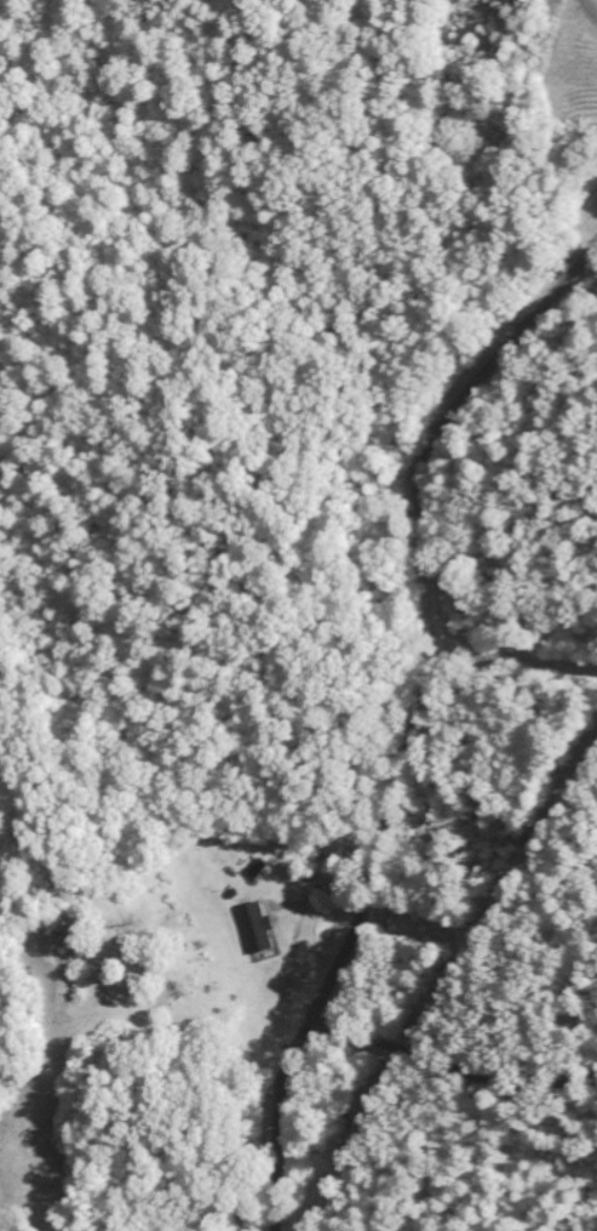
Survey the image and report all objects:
road: (591, 6)
road: (420, 720)
building: (254, 928)
road: (457, 1014)

